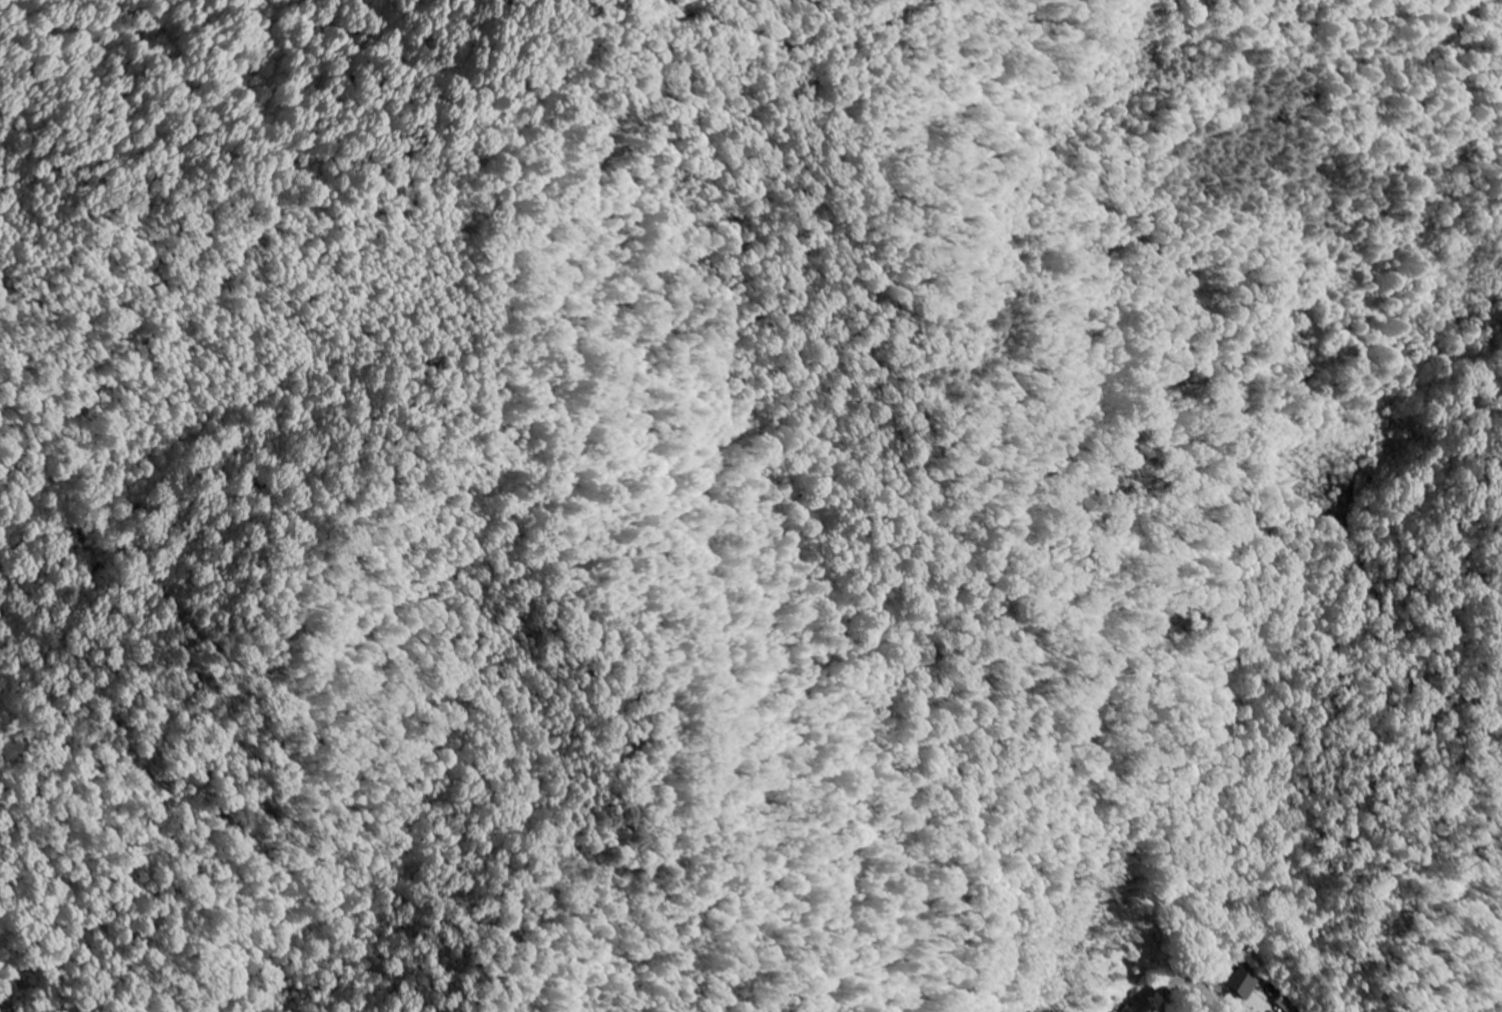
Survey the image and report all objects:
building: (1242, 984)
building: (1286, 1004)
road: (1491, 1007)
building: (1130, 1009)

